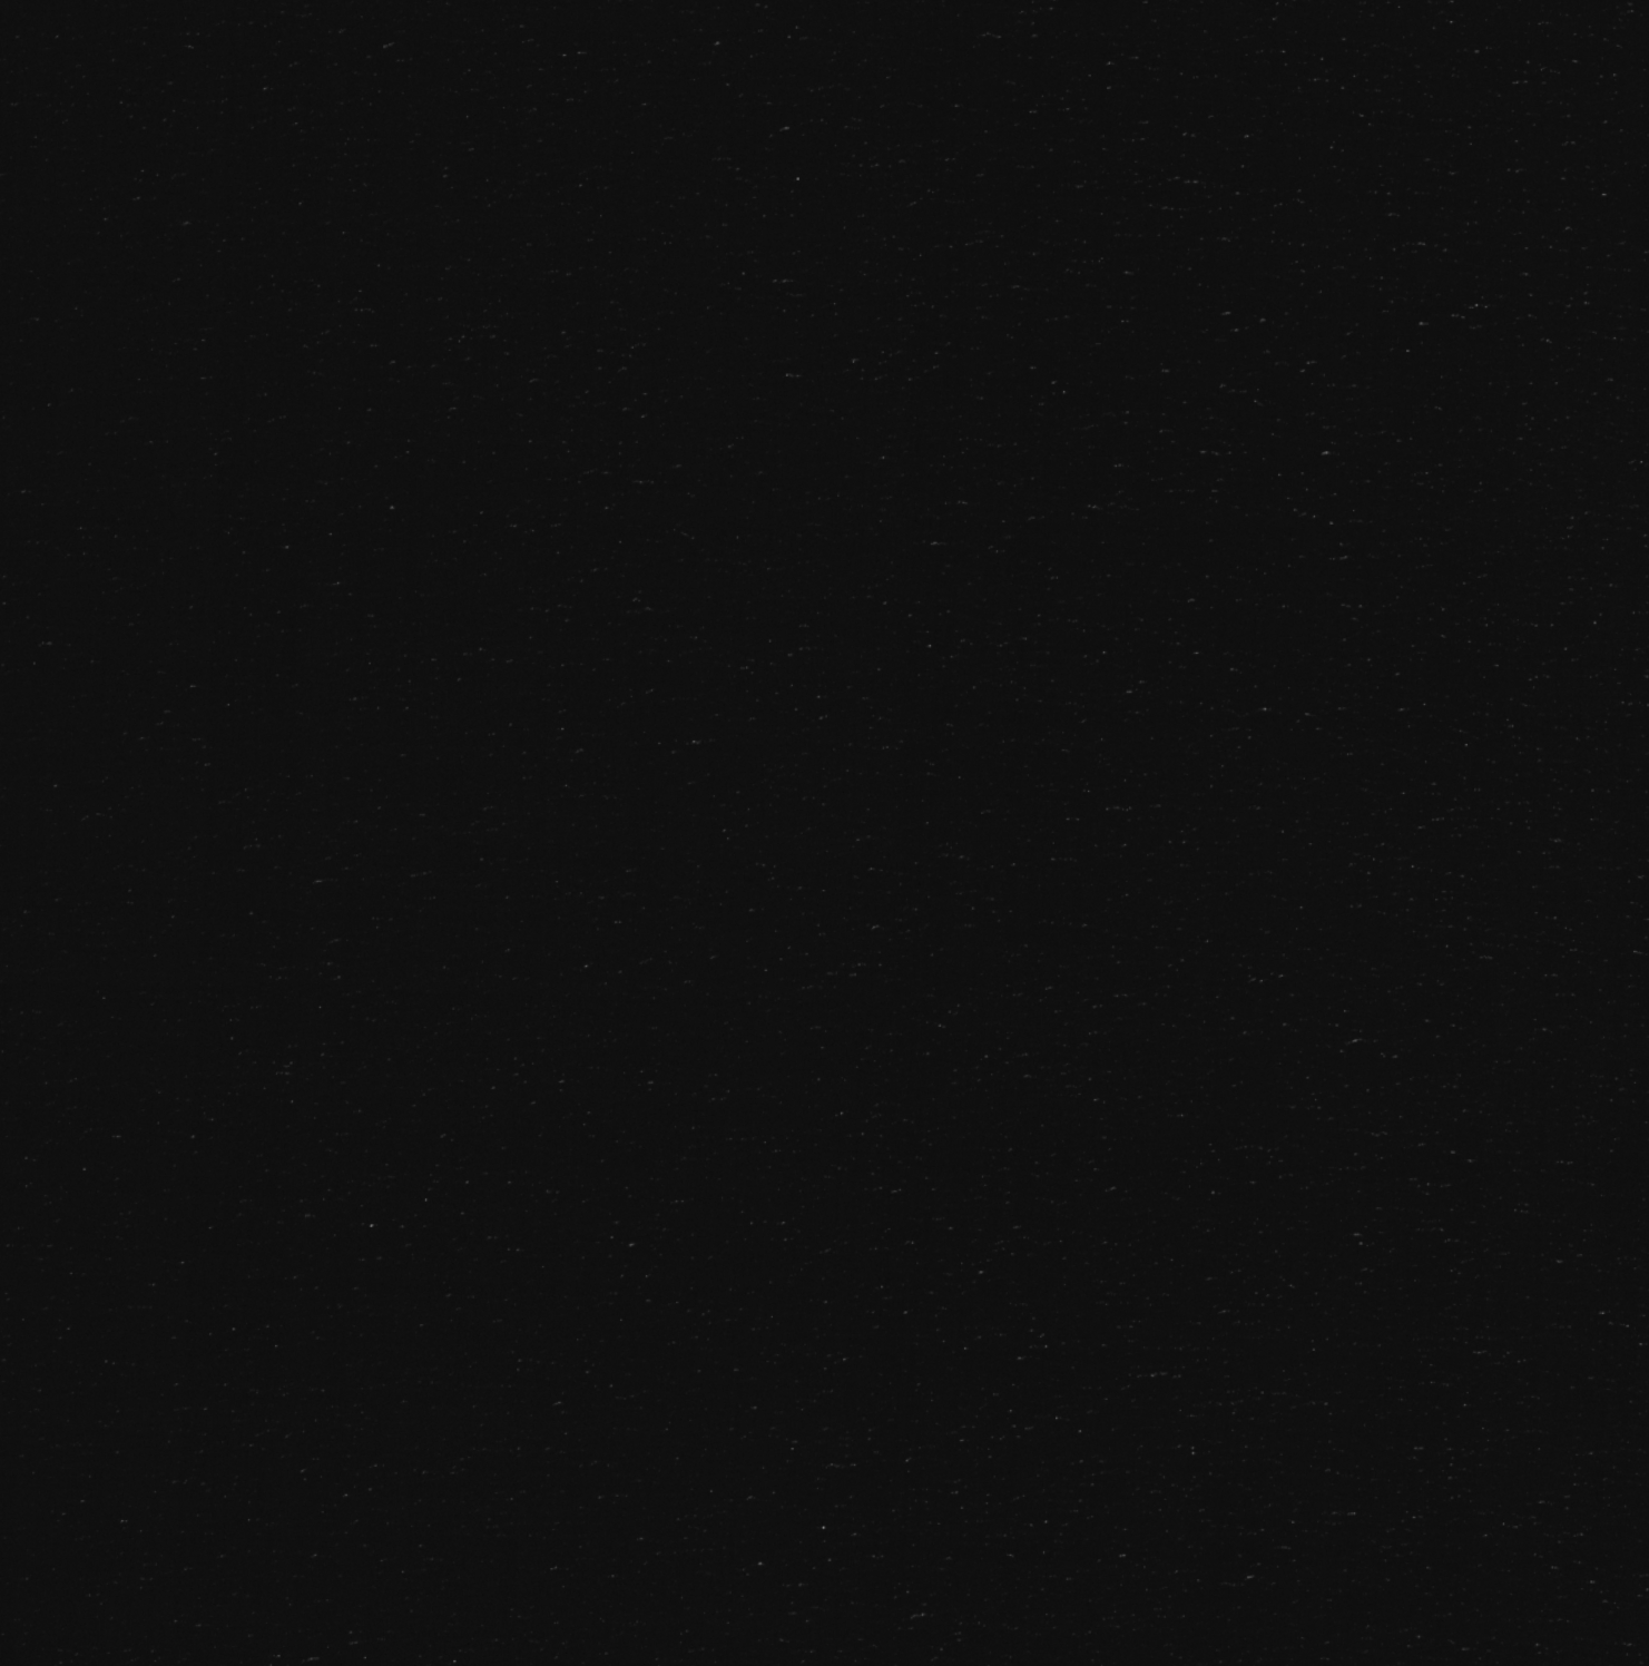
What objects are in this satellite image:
river: (824, 1260)

